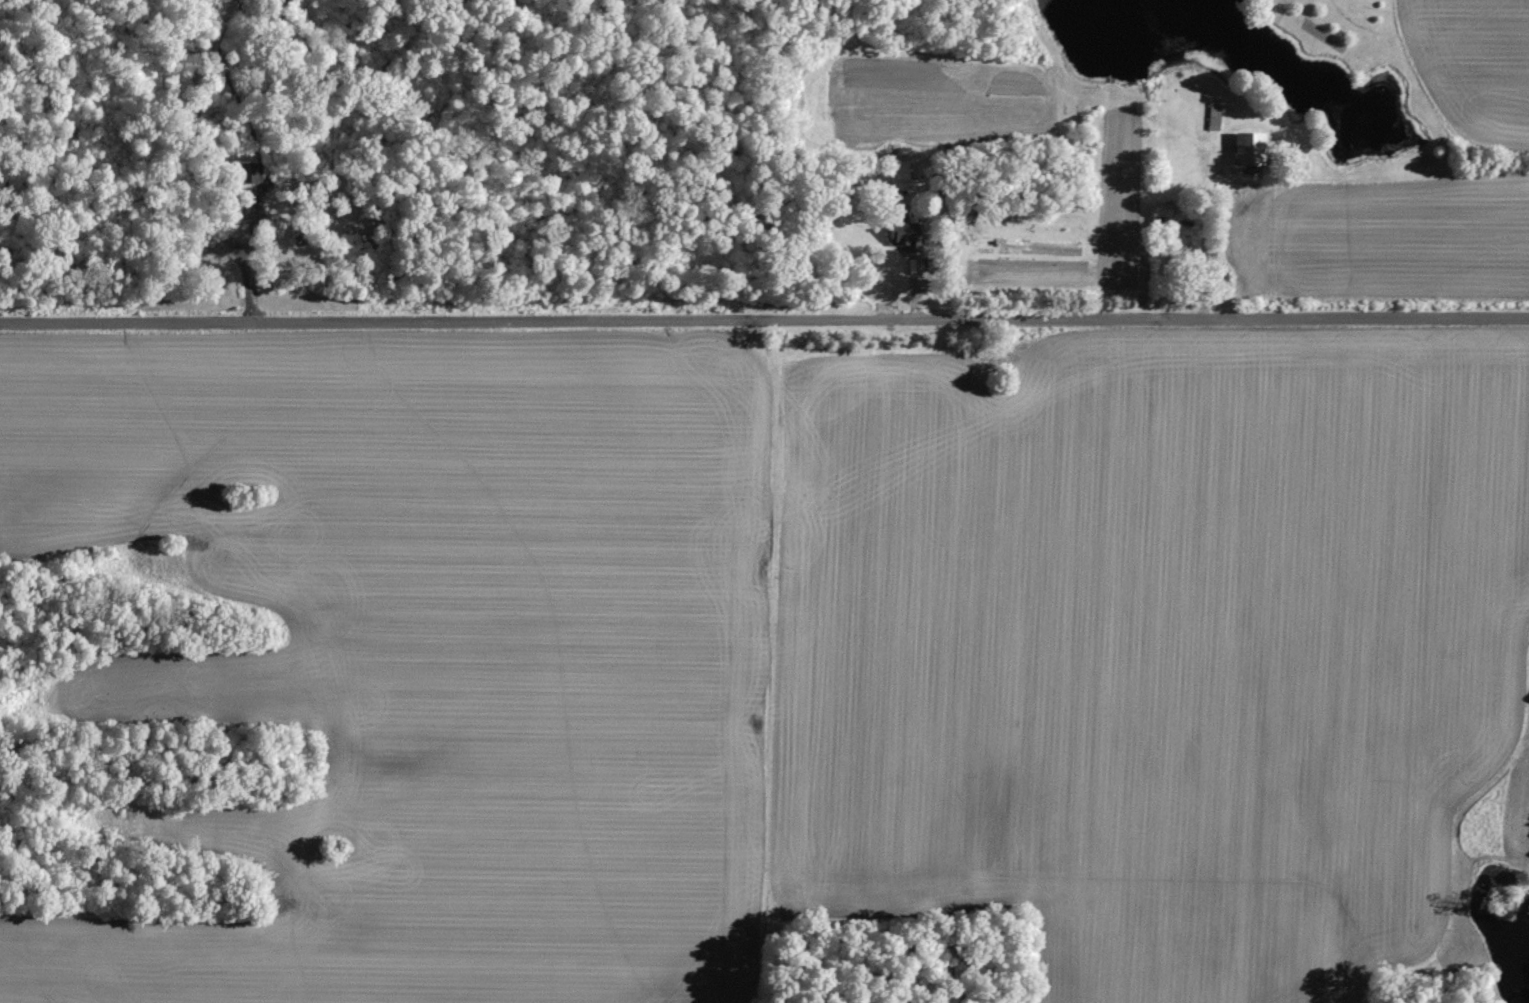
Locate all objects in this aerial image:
building: (1244, 151)
building: (247, 174)
building: (903, 237)
road: (1200, 241)
road: (764, 333)

